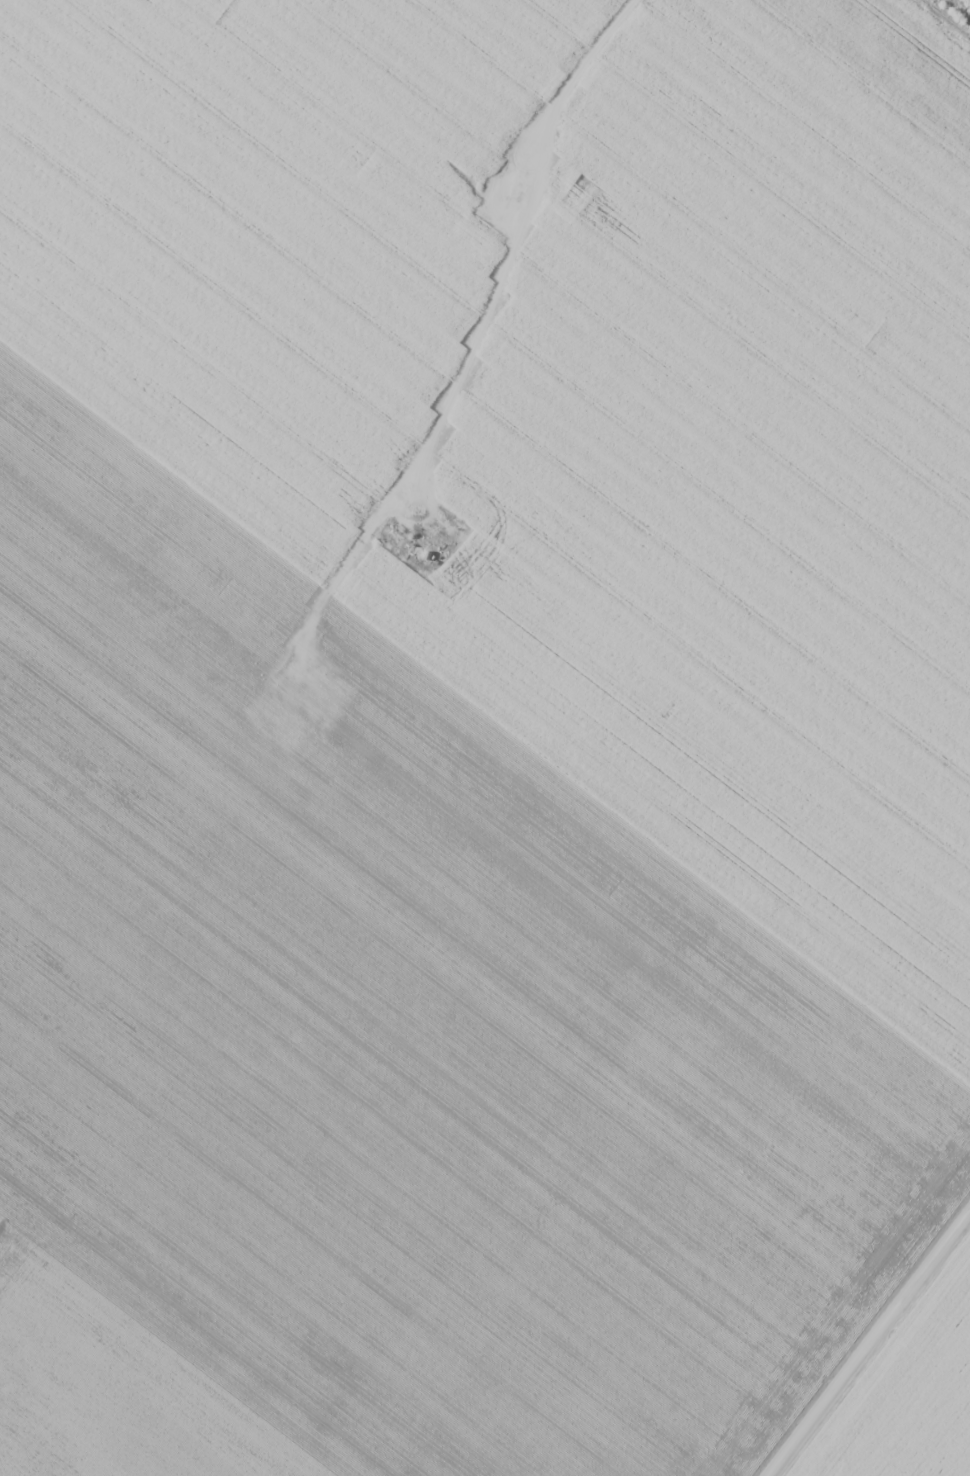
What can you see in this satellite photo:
road: (875, 1351)

